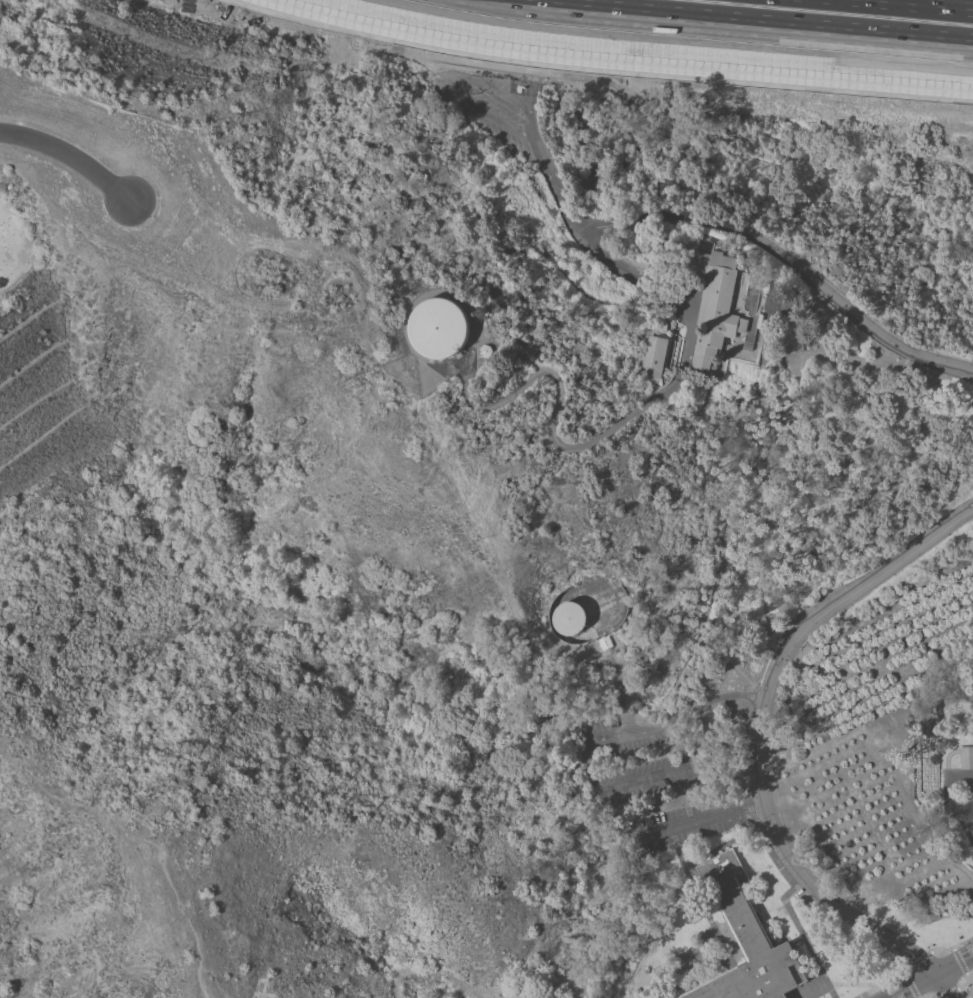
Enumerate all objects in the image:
road: (889, 6)
railway: (788, 16)
road: (677, 31)
parking lot: (493, 105)
road: (68, 161)
park: (151, 210)
road: (748, 233)
building: (714, 303)
building: (439, 328)
storage tank: (439, 328)
building: (654, 357)
road: (624, 418)
building: (568, 618)
storage tank: (568, 618)
road: (741, 673)
road: (672, 686)
road: (620, 696)
road: (760, 746)
road: (947, 755)
building: (966, 757)
road: (681, 773)
road: (591, 777)
parking lot: (655, 788)
road: (950, 793)
road: (970, 819)
road: (970, 834)
road: (719, 848)
road: (783, 899)
road: (703, 907)
road: (189, 927)
road: (822, 931)
building: (745, 940)
road: (797, 942)
road: (952, 948)
street lamp: (956, 948)
road: (917, 959)
road: (958, 961)
road: (953, 963)
road: (428, 974)
road: (962, 977)
road: (694, 979)
road: (565, 983)
road: (882, 983)
road: (841, 984)
road: (909, 985)
road: (910, 985)
road: (946, 992)
road: (801, 993)
road: (927, 994)

